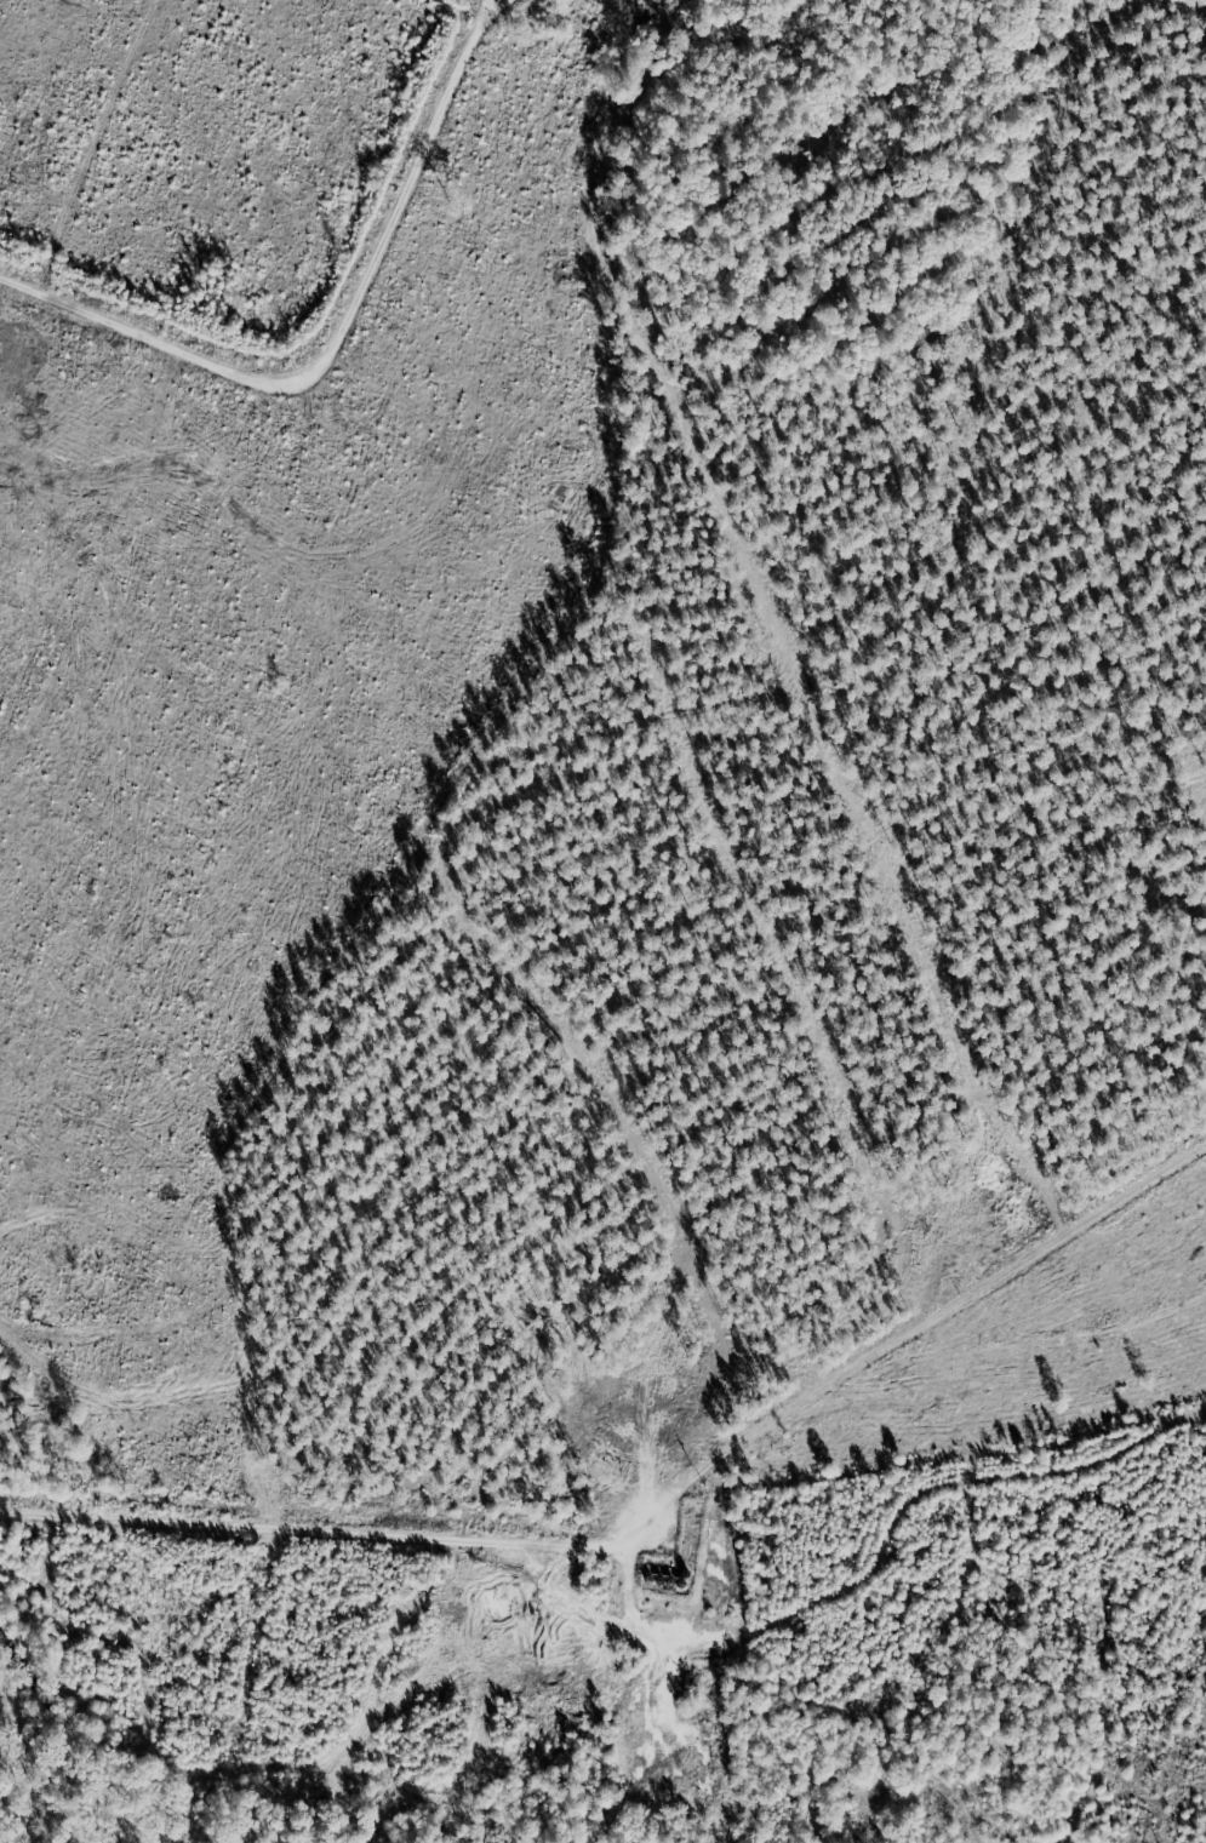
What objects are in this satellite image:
road: (305, 1526)

